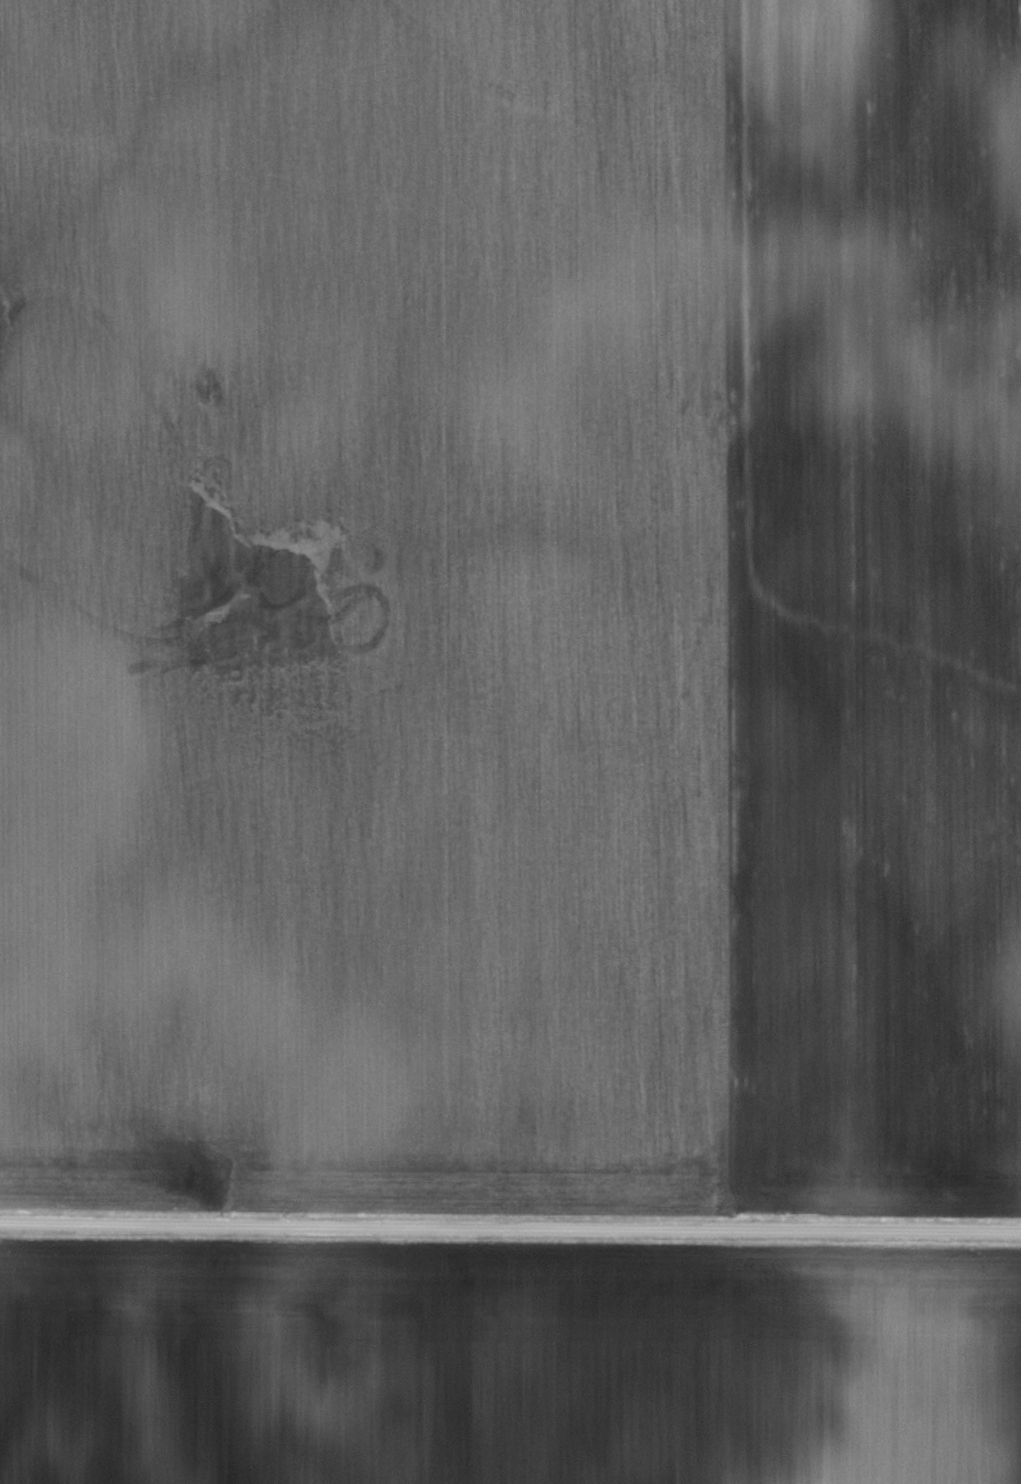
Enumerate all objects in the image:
road: (510, 1226)

